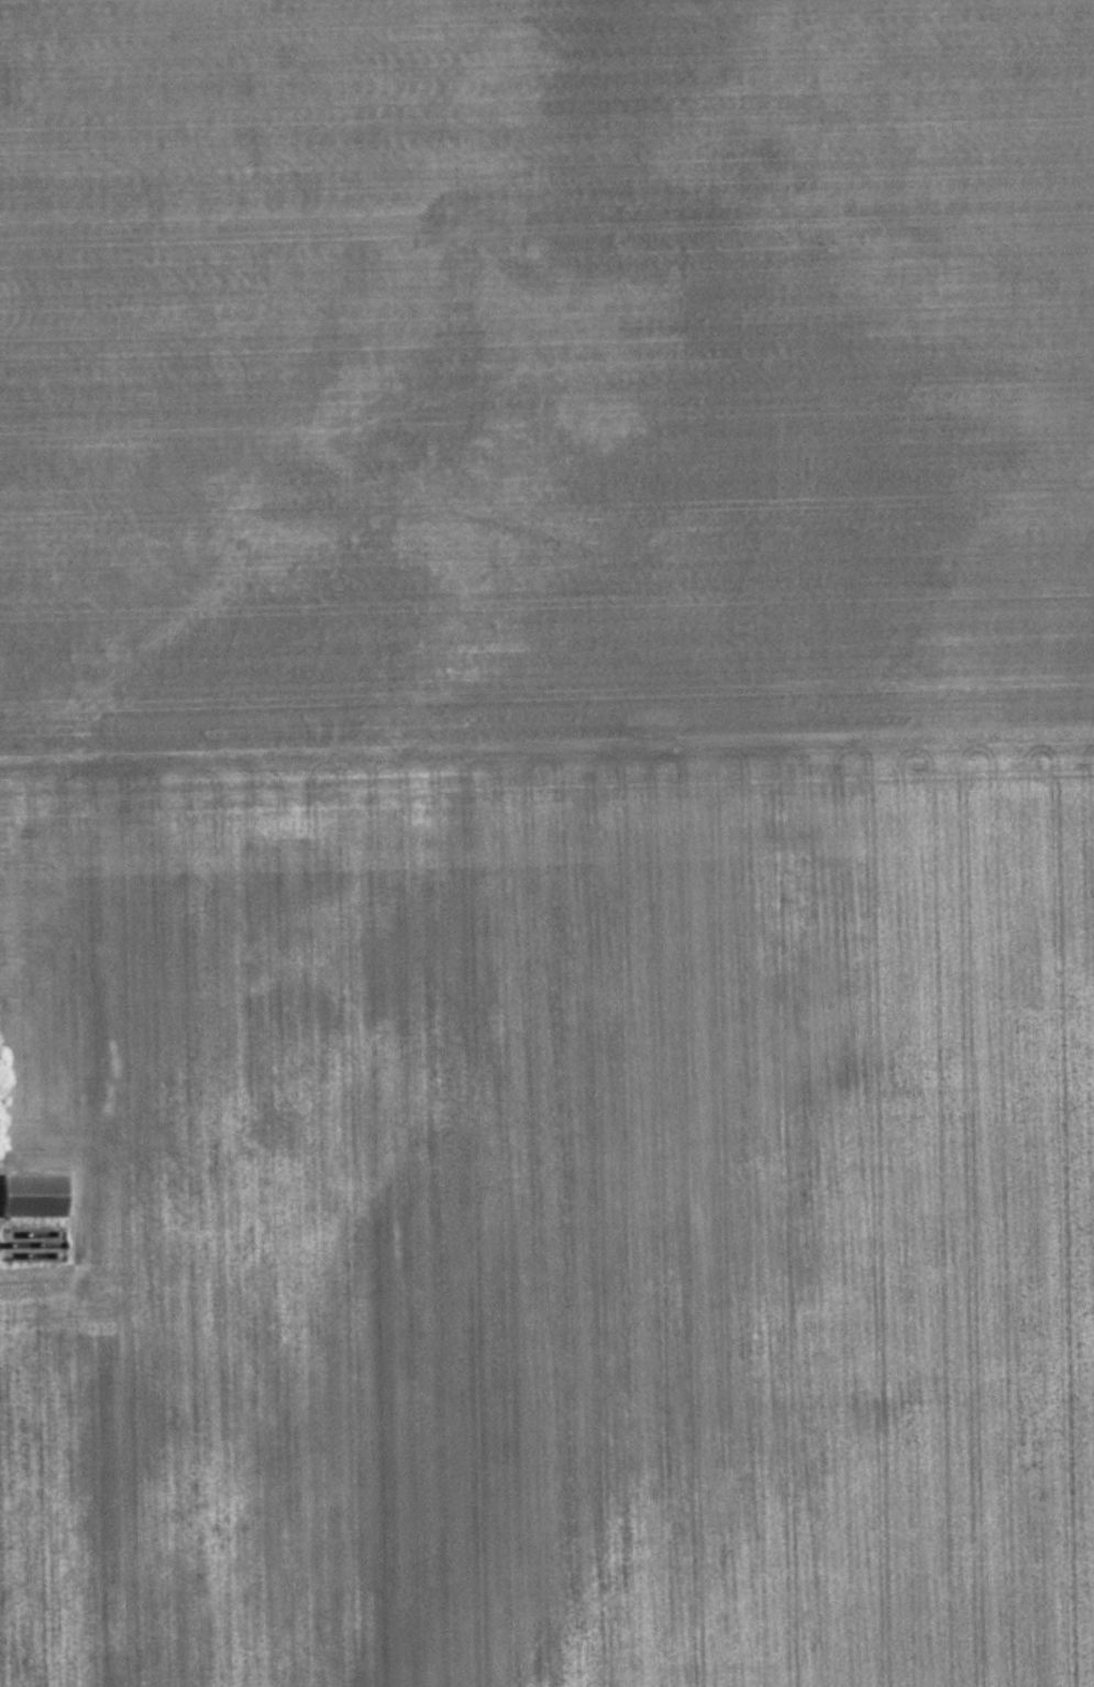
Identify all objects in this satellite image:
building: (32, 1194)

